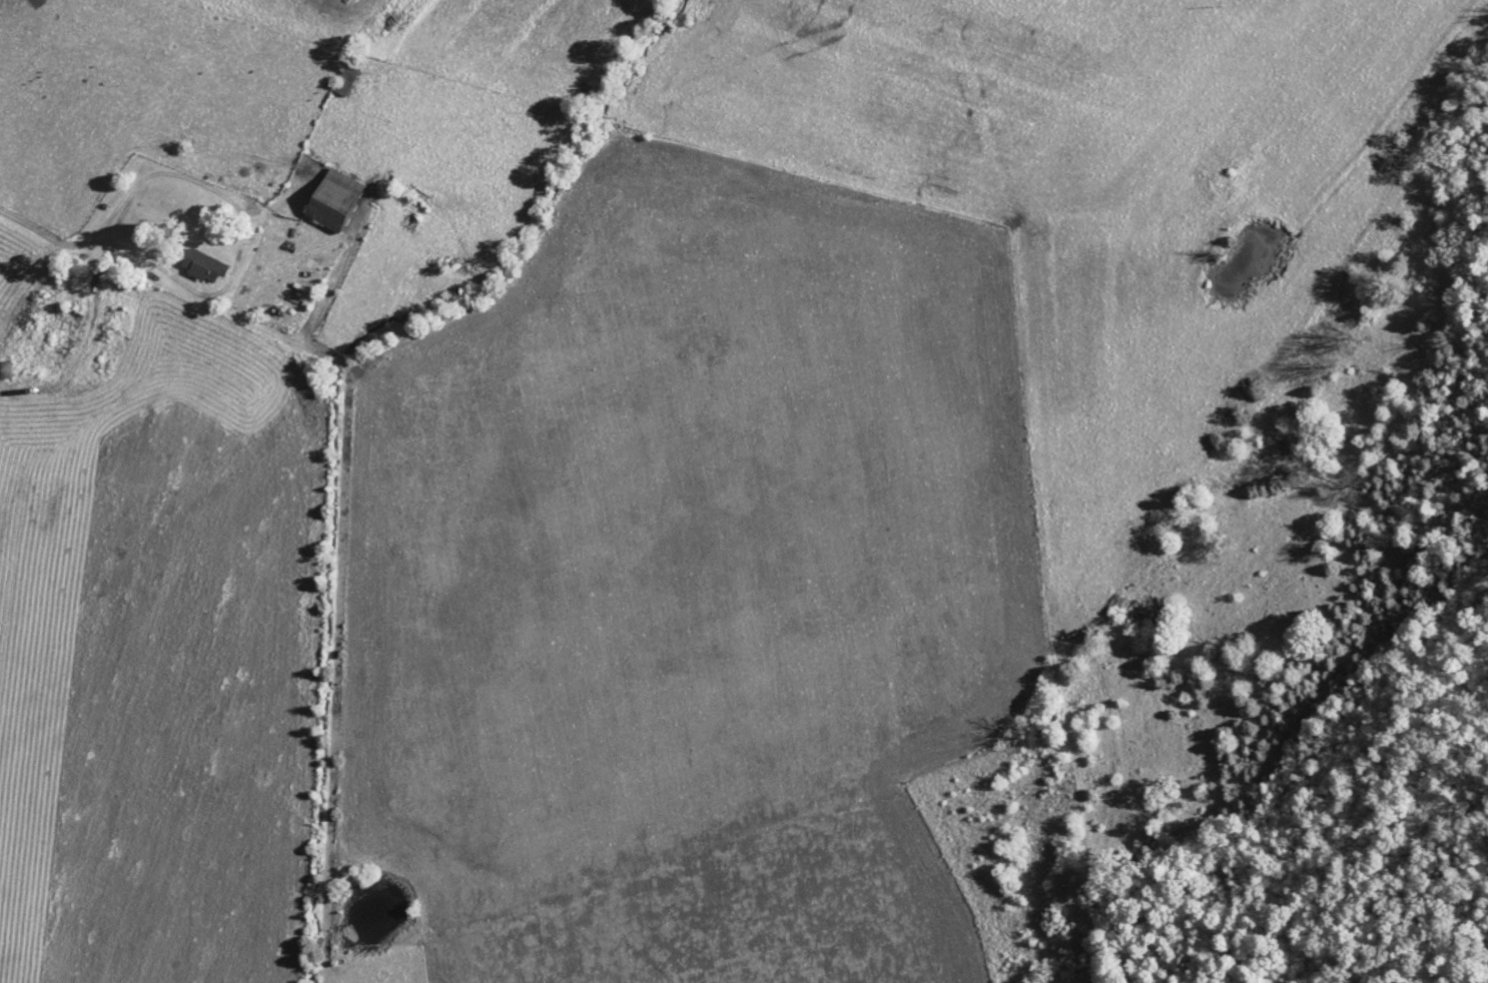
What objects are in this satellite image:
building: (338, 202)
building: (208, 268)
road: (111, 322)

